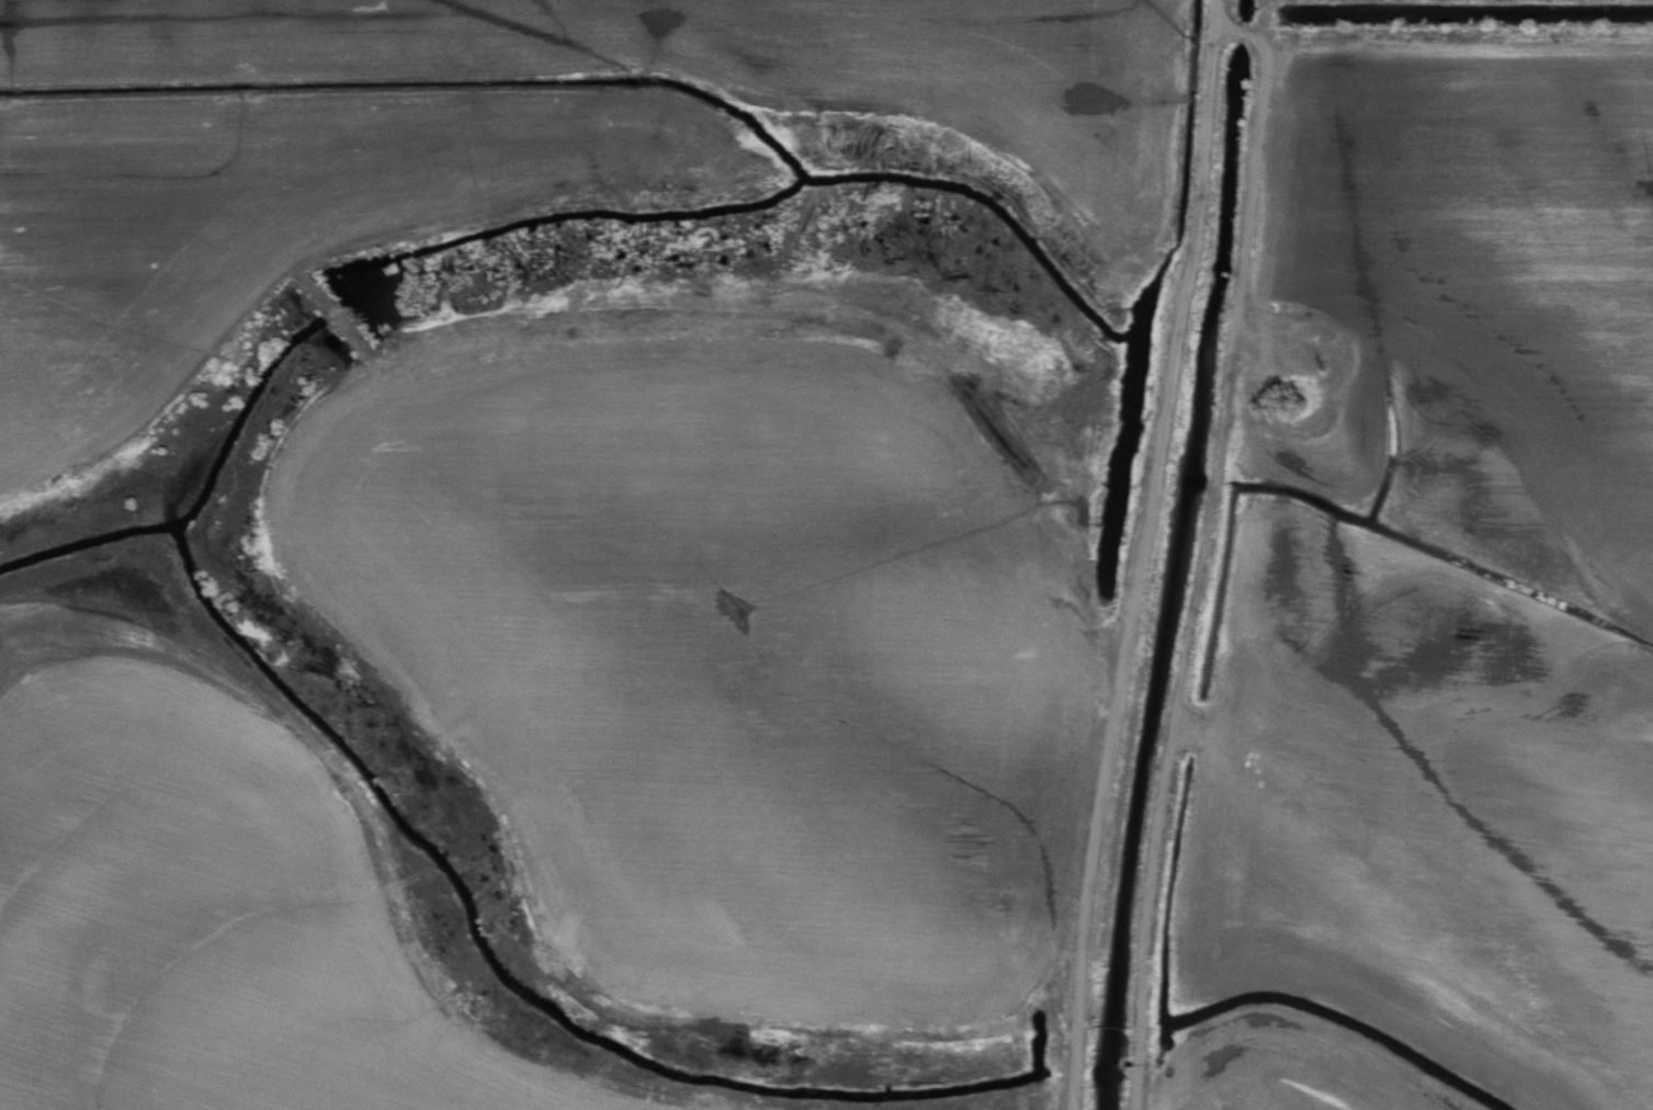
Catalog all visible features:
road: (1195, 35)
road: (1423, 66)
road: (1110, 589)

